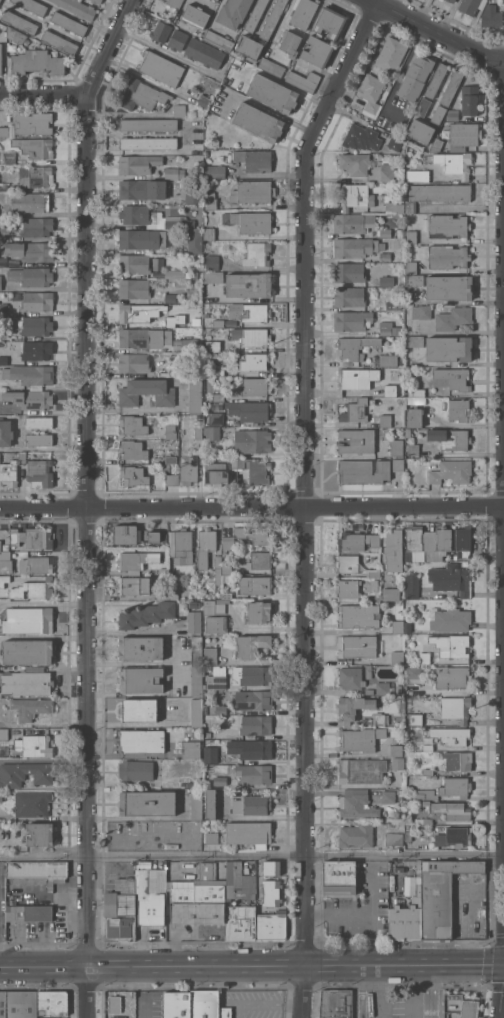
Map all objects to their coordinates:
building: (0, 0)
building: (216, 0)
building: (96, 1)
building: (452, 1)
building: (175, 3)
building: (32, 6)
building: (472, 6)
building: (78, 8)
building: (234, 12)
building: (304, 13)
building: (256, 15)
building: (196, 16)
building: (492, 16)
building: (273, 19)
building: (20, 22)
building: (330, 22)
building: (69, 23)
road: (283, 26)
road: (432, 29)
building: (161, 31)
building: (16, 35)
building: (178, 40)
building: (219, 40)
building: (60, 42)
building: (290, 43)
building: (249, 46)
building: (317, 51)
building: (204, 53)
building: (392, 54)
road: (176, 55)
building: (1, 58)
building: (38, 62)
building: (272, 67)
building: (161, 68)
building: (416, 77)
building: (304, 80)
building: (436, 80)
building: (451, 87)
building: (371, 91)
building: (273, 93)
building: (142, 95)
road: (43, 96)
building: (204, 101)
building: (467, 103)
building: (423, 106)
building: (180, 110)
building: (438, 114)
building: (258, 122)
building: (34, 123)
building: (148, 124)
building: (421, 130)
building: (4, 131)
building: (464, 134)
building: (361, 137)
building: (395, 142)
building: (149, 143)
building: (436, 145)
building: (35, 147)
building: (194, 147)
building: (206, 153)
building: (10, 158)
building: (258, 161)
building: (355, 163)
building: (455, 163)
building: (138, 164)
building: (215, 171)
building: (387, 172)
building: (174, 173)
building: (418, 175)
building: (35, 176)
building: (4, 187)
building: (142, 189)
building: (252, 192)
building: (194, 194)
building: (437, 194)
building: (354, 196)
building: (30, 202)
building: (211, 203)
building: (394, 207)
building: (199, 214)
building: (153, 217)
building: (253, 222)
building: (349, 223)
building: (37, 226)
building: (448, 226)
building: (384, 232)
building: (400, 233)
building: (209, 234)
building: (411, 237)
building: (143, 239)
building: (193, 239)
building: (354, 247)
building: (31, 250)
building: (257, 254)
building: (386, 256)
building: (448, 256)
building: (3, 261)
building: (212, 262)
building: (134, 263)
building: (411, 267)
building: (349, 272)
building: (175, 274)
building: (31, 276)
building: (213, 276)
building: (390, 280)
building: (415, 280)
building: (0, 283)
building: (249, 284)
building: (449, 287)
building: (134, 288)
building: (349, 296)
building: (170, 298)
building: (37, 301)
building: (385, 305)
building: (3, 307)
building: (249, 312)
building: (421, 312)
building: (138, 313)
building: (454, 318)
building: (352, 320)
building: (174, 321)
building: (218, 323)
building: (35, 325)
building: (386, 330)
building: (251, 336)
building: (144, 337)
building: (414, 341)
building: (189, 344)
building: (219, 346)
building: (355, 347)
building: (449, 348)
building: (37, 350)
building: (4, 360)
building: (388, 360)
building: (254, 361)
building: (134, 362)
building: (218, 372)
building: (32, 374)
building: (351, 377)
building: (452, 378)
building: (255, 387)
building: (147, 392)
building: (415, 392)
building: (195, 395)
building: (219, 397)
building: (30, 399)
building: (250, 410)
building: (460, 410)
building: (355, 411)
building: (414, 416)
building: (215, 418)
building: (386, 421)
building: (39, 422)
building: (134, 424)
building: (171, 431)
building: (5, 432)
building: (212, 432)
building: (198, 433)
building: (450, 438)
building: (39, 439)
building: (253, 441)
building: (357, 441)
building: (397, 448)
building: (133, 449)
building: (413, 449)
building: (17, 455)
building: (2, 456)
building: (22, 457)
building: (171, 459)
building: (398, 465)
building: (253, 469)
building: (364, 470)
building: (189, 471)
building: (452, 471)
building: (9, 473)
building: (40, 473)
building: (216, 473)
building: (133, 475)
building: (172, 479)
road: (87, 502)
road: (251, 504)
road: (301, 504)
building: (134, 535)
building: (248, 536)
building: (32, 537)
building: (443, 538)
building: (357, 541)
building: (464, 541)
building: (413, 542)
building: (0, 545)
building: (206, 545)
building: (183, 546)
building: (394, 550)
building: (429, 555)
building: (260, 560)
building: (134, 561)
building: (5, 562)
building: (347, 563)
building: (37, 564)
building: (161, 571)
building: (374, 573)
building: (217, 574)
building: (452, 579)
building: (4, 580)
building: (135, 585)
building: (256, 585)
building: (413, 585)
building: (173, 586)
building: (347, 588)
building: (33, 589)
building: (392, 593)
building: (163, 595)
building: (374, 597)
building: (194, 604)
building: (217, 604)
building: (258, 612)
building: (147, 614)
building: (359, 616)
building: (28, 619)
building: (450, 619)
building: (194, 621)
building: (216, 624)
building: (398, 626)
building: (407, 626)
building: (411, 637)
building: (423, 638)
building: (252, 645)
building: (356, 646)
building: (457, 647)
building: (140, 648)
building: (196, 650)
building: (27, 651)
building: (210, 655)
building: (397, 657)
building: (425, 657)
building: (368, 667)
building: (413, 671)
building: (369, 674)
building: (253, 675)
building: (351, 677)
building: (451, 677)
building: (141, 680)
building: (197, 681)
building: (216, 682)
building: (27, 683)
building: (384, 688)
building: (399, 689)
building: (369, 691)
building: (1, 694)
building: (253, 700)
building: (409, 705)
building: (31, 707)
building: (353, 707)
building: (456, 708)
building: (206, 709)
building: (218, 709)
building: (139, 710)
building: (196, 712)
building: (377, 719)
building: (416, 719)
building: (256, 724)
building: (4, 733)
building: (457, 736)
building: (361, 739)
building: (141, 741)
building: (34, 745)
building: (428, 747)
building: (251, 748)
building: (191, 749)
building: (396, 750)
building: (211, 754)
building: (458, 761)
building: (398, 763)
building: (136, 770)
building: (361, 770)
building: (428, 771)
building: (254, 774)
building: (12, 776)
building: (220, 780)
building: (190, 784)
building: (446, 789)
building: (400, 791)
building: (388, 796)
building: (400, 798)
building: (32, 803)
building: (148, 803)
building: (196, 804)
building: (357, 804)
building: (210, 805)
building: (253, 805)
building: (448, 809)
building: (400, 815)
building: (423, 821)
building: (249, 833)
building: (40, 834)
building: (357, 834)
building: (212, 836)
building: (409, 836)
building: (455, 836)
building: (394, 838)
road: (252, 855)
building: (271, 867)
building: (37, 869)
building: (340, 877)
building: (271, 893)
building: (199, 898)
building: (148, 901)
building: (234, 902)
building: (430, 902)
building: (240, 903)
building: (120, 910)
building: (30, 912)
road: (355, 917)
building: (271, 926)
road: (466, 964)
road: (400, 965)
road: (186, 967)
road: (427, 991)
road: (372, 992)
building: (52, 1003)
building: (3, 1004)
building: (22, 1004)
building: (114, 1004)
building: (336, 1004)
building: (178, 1005)
building: (208, 1005)
road: (502, 1007)
building: (469, 1008)
building: (50, 1017)
building: (117, 1017)

